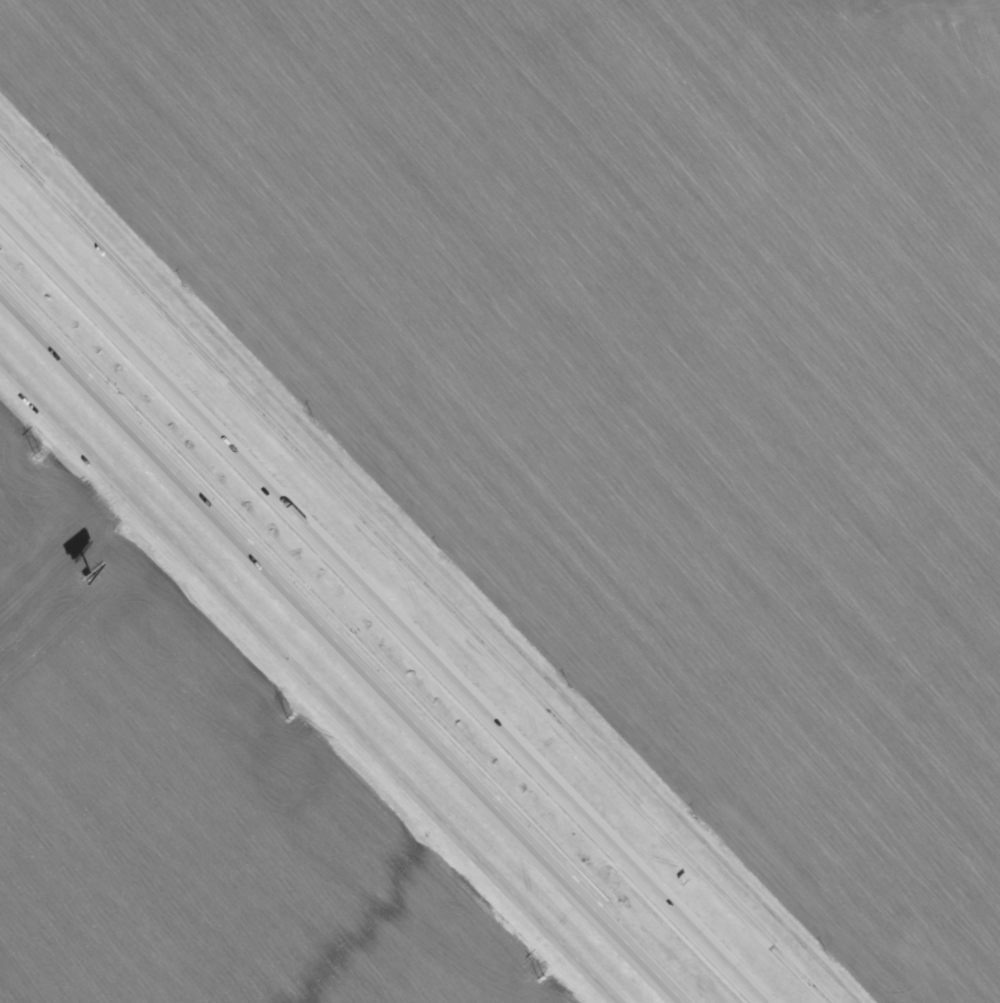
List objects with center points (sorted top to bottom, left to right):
power tower: (38, 455)
road: (414, 570)
road: (383, 605)
road: (342, 647)
road: (306, 683)
power tower: (291, 719)
power tower: (542, 980)

